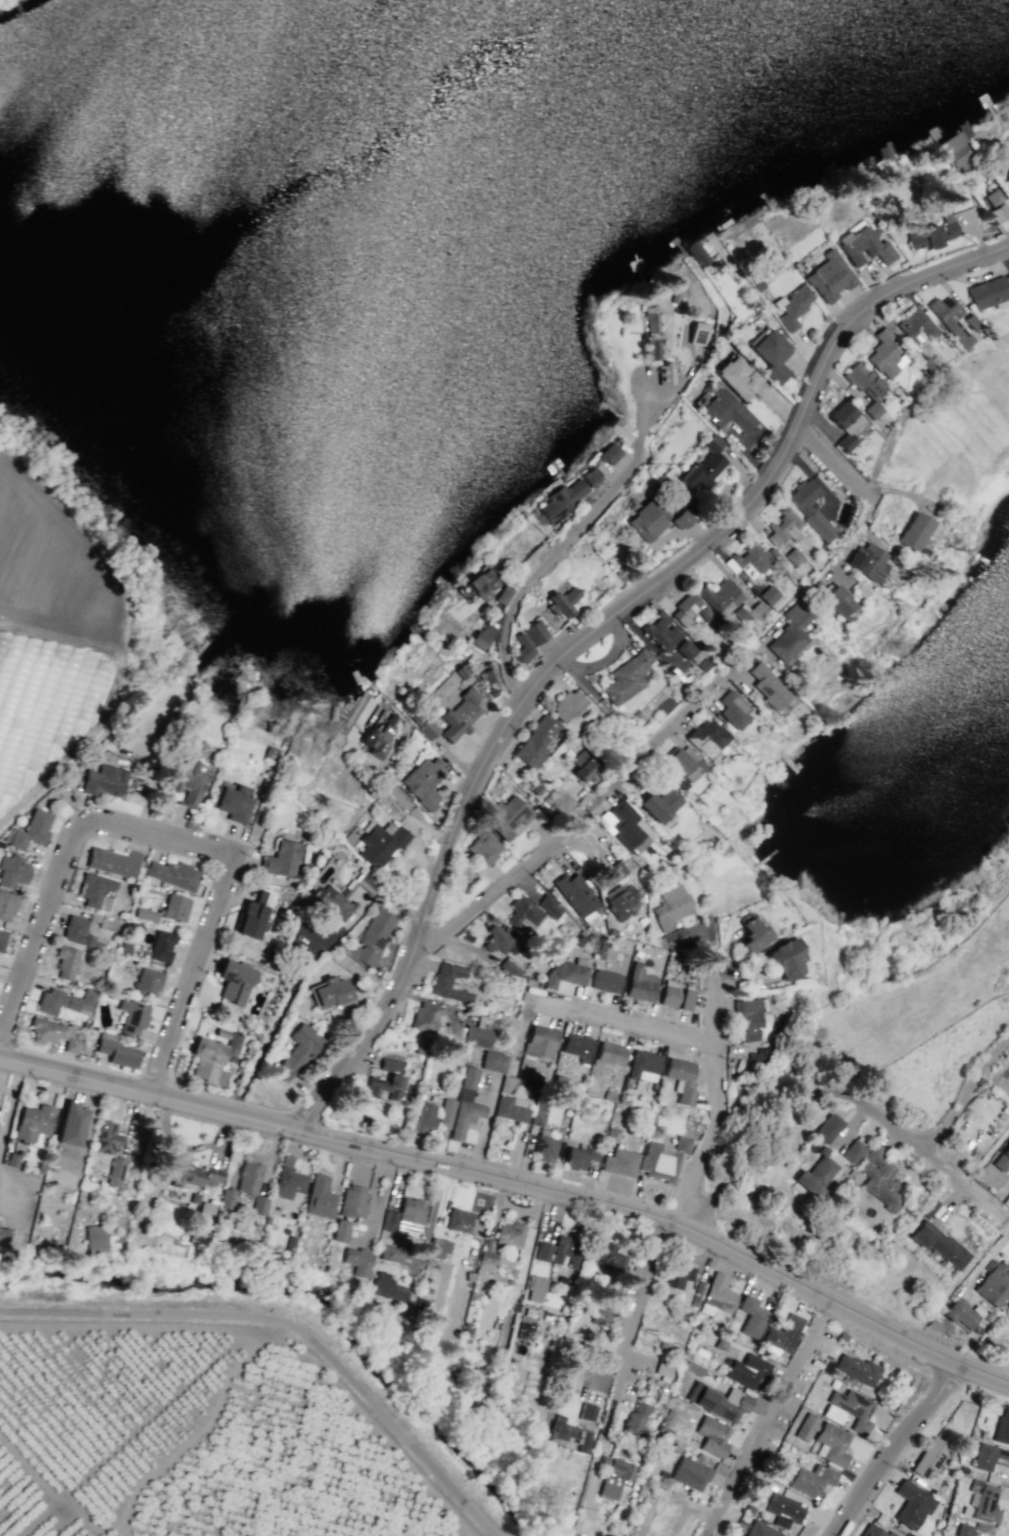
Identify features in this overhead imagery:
building: (964, 129)
building: (955, 151)
building: (830, 171)
building: (1006, 172)
building: (1008, 190)
building: (1008, 193)
building: (997, 206)
building: (940, 225)
building: (865, 246)
building: (695, 253)
building: (829, 276)
building: (756, 283)
building: (988, 291)
building: (675, 297)
building: (793, 306)
building: (948, 318)
building: (971, 320)
building: (915, 326)
building: (651, 332)
building: (697, 332)
building: (884, 353)
building: (771, 354)
building: (927, 364)
building: (665, 374)
building: (740, 378)
building: (864, 386)
building: (726, 411)
building: (847, 425)
park: (956, 448)
building: (608, 454)
building: (705, 464)
road: (864, 496)
building: (565, 497)
building: (809, 507)
building: (680, 518)
building: (647, 519)
building: (784, 527)
building: (915, 531)
road: (564, 541)
building: (793, 556)
building: (867, 561)
building: (746, 562)
building: (483, 583)
building: (503, 594)
crop: (60, 597)
building: (721, 597)
building: (770, 597)
building: (836, 600)
building: (559, 603)
building: (689, 610)
road: (592, 628)
building: (535, 632)
building: (660, 633)
building: (790, 633)
building: (478, 640)
building: (523, 647)
building: (686, 649)
building: (459, 671)
building: (487, 673)
building: (625, 677)
park: (1003, 678)
building: (768, 685)
building: (490, 692)
building: (567, 705)
building: (734, 710)
building: (459, 715)
building: (426, 729)
building: (379, 737)
building: (708, 739)
building: (534, 742)
building: (269, 752)
building: (583, 764)
building: (104, 781)
building: (188, 783)
building: (424, 783)
building: (231, 801)
building: (659, 804)
road: (579, 815)
building: (510, 818)
building: (626, 826)
building: (29, 830)
road: (171, 838)
building: (380, 843)
building: (484, 848)
building: (282, 858)
road: (207, 861)
building: (114, 862)
building: (12, 870)
building: (615, 870)
building: (173, 874)
road: (237, 879)
building: (130, 886)
building: (96, 891)
building: (341, 893)
building: (575, 893)
building: (621, 901)
building: (7, 905)
building: (671, 905)
building: (549, 906)
building: (166, 909)
building: (523, 911)
building: (255, 915)
building: (105, 921)
building: (751, 932)
building: (78, 933)
building: (374, 935)
building: (675, 937)
building: (2, 938)
building: (496, 940)
building: (161, 946)
building: (124, 947)
building: (352, 951)
park: (911, 951)
building: (143, 954)
building: (785, 958)
building: (65, 960)
building: (510, 968)
building: (566, 972)
building: (234, 981)
building: (605, 981)
building: (147, 983)
building: (449, 983)
building: (639, 983)
building: (330, 991)
building: (674, 995)
building: (66, 1001)
building: (132, 1016)
building: (426, 1017)
building: (746, 1019)
road: (626, 1021)
road: (273, 1022)
building: (222, 1033)
building: (54, 1034)
building: (469, 1035)
building: (540, 1042)
building: (577, 1046)
building: (116, 1050)
building: (248, 1050)
building: (297, 1050)
building: (610, 1053)
building: (759, 1056)
building: (232, 1059)
building: (208, 1060)
building: (493, 1061)
building: (643, 1065)
building: (681, 1078)
building: (386, 1080)
building: (506, 1084)
road: (966, 1091)
road: (835, 1093)
road: (713, 1097)
building: (465, 1104)
building: (511, 1108)
building: (446, 1113)
building: (424, 1117)
building: (34, 1122)
building: (71, 1124)
building: (827, 1128)
building: (612, 1134)
building: (107, 1137)
building: (545, 1146)
building: (852, 1151)
building: (579, 1156)
building: (1002, 1159)
building: (13, 1160)
building: (662, 1160)
building: (619, 1162)
building: (115, 1171)
building: (192, 1175)
building: (249, 1177)
building: (813, 1177)
building: (879, 1178)
building: (288, 1179)
road: (518, 1182)
building: (319, 1197)
building: (226, 1198)
building: (352, 1201)
building: (259, 1205)
building: (927, 1208)
building: (205, 1212)
building: (404, 1216)
building: (458, 1220)
building: (341, 1230)
building: (509, 1233)
building: (4, 1234)
building: (938, 1244)
building: (437, 1249)
building: (560, 1251)
building: (390, 1253)
building: (606, 1257)
building: (485, 1260)
building: (357, 1261)
building: (679, 1277)
building: (994, 1284)
building: (387, 1288)
building: (535, 1289)
building: (717, 1295)
road: (633, 1299)
building: (959, 1313)
building: (600, 1314)
building: (751, 1316)
road: (290, 1326)
building: (524, 1327)
building: (783, 1333)
building: (693, 1368)
building: (856, 1368)
building: (662, 1370)
building: (747, 1371)
building: (530, 1384)
building: (723, 1402)
building: (849, 1409)
building: (586, 1412)
road: (756, 1412)
building: (635, 1419)
building: (797, 1419)
building: (806, 1427)
building: (1002, 1427)
building: (568, 1433)
building: (712, 1436)
crop: (194, 1438)
building: (831, 1444)
road: (896, 1448)
building: (929, 1456)
building: (989, 1457)
building: (690, 1473)
building: (613, 1476)
building: (811, 1480)
building: (982, 1501)
building: (912, 1504)
building: (783, 1510)
building: (759, 1529)
building: (963, 1529)
building: (874, 1531)

